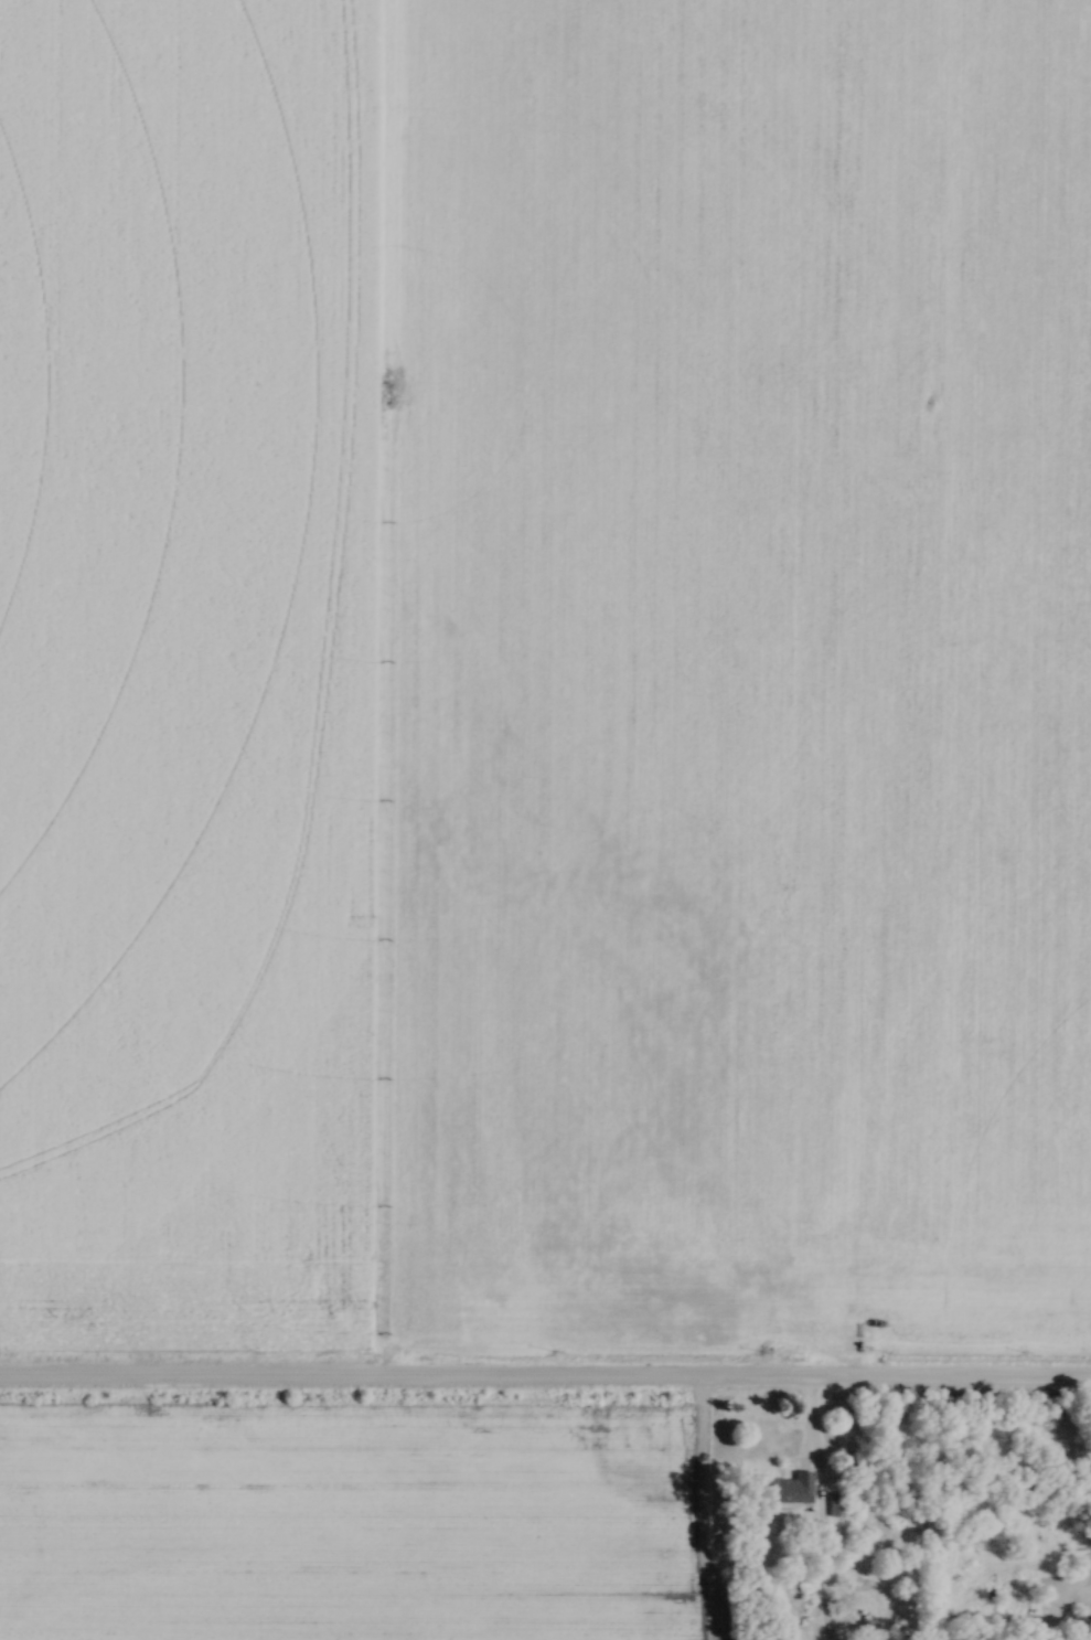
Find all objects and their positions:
building: (930, 369)
building: (894, 742)
road: (545, 1384)
road: (811, 1458)
building: (781, 1489)
building: (834, 1505)

